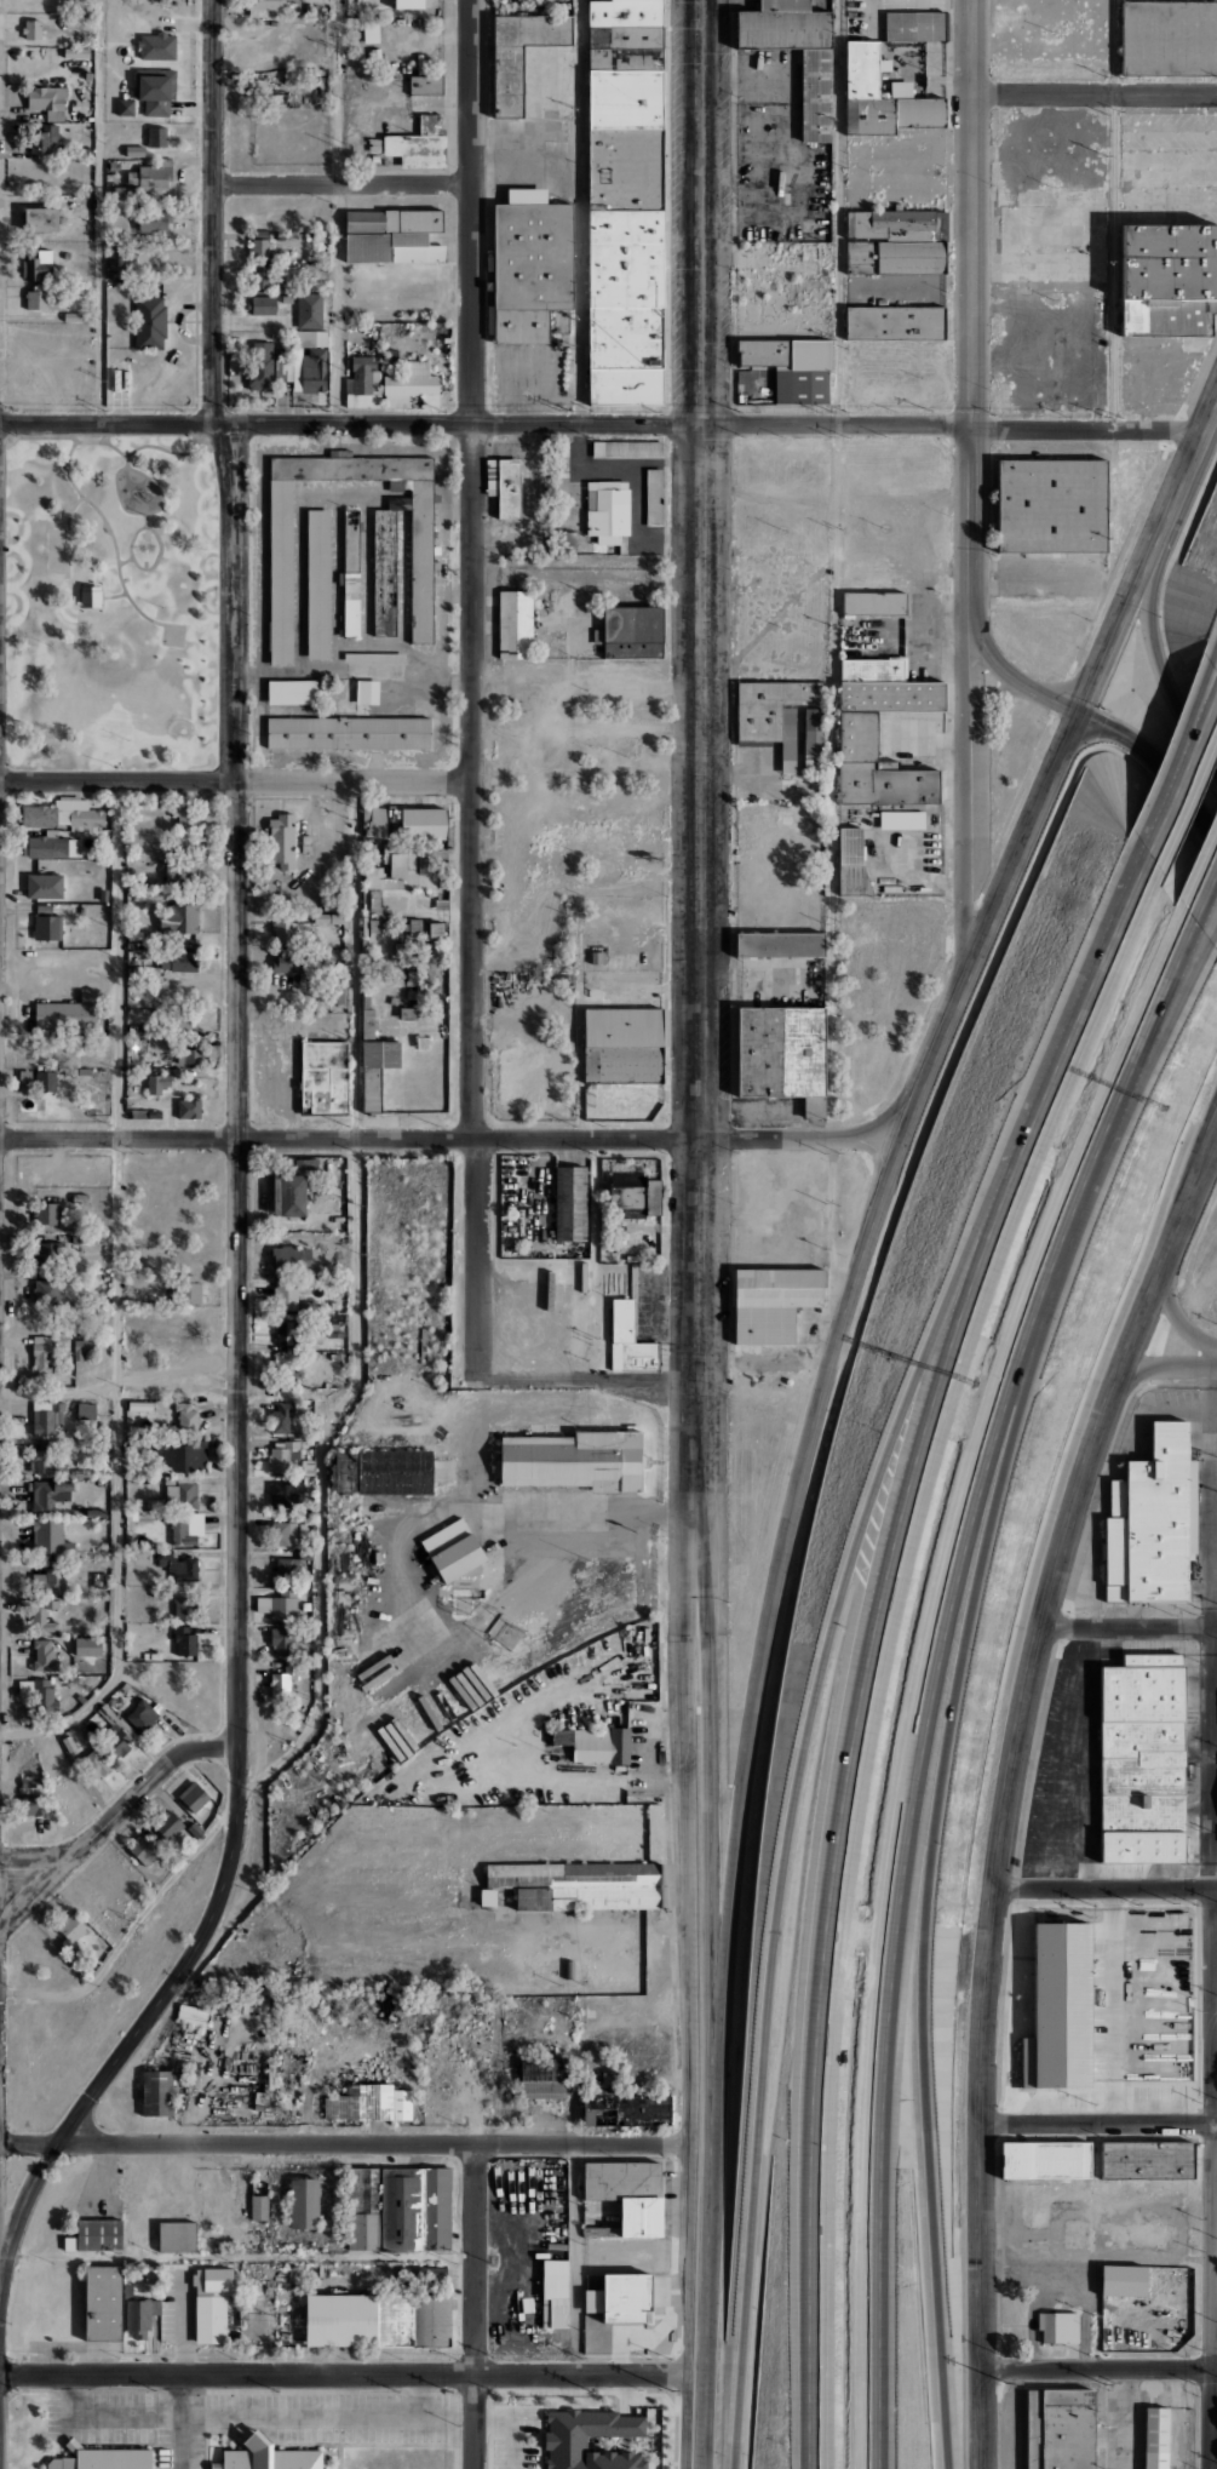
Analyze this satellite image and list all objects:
parking lot: (937, 4)
building: (263, 6)
parking lot: (863, 16)
building: (914, 25)
building: (33, 28)
building: (369, 30)
building: (1169, 36)
building: (157, 46)
building: (521, 53)
building: (425, 84)
building: (861, 88)
building: (156, 90)
building: (816, 94)
road: (1095, 94)
building: (48, 102)
building: (126, 107)
building: (156, 137)
building: (44, 138)
building: (414, 145)
building: (134, 150)
building: (358, 150)
building: (375, 157)
parking lot: (1169, 166)
building: (153, 181)
road: (341, 185)
building: (125, 191)
building: (625, 202)
road: (340, 212)
road: (101, 213)
road: (213, 213)
road: (580, 213)
road: (838, 214)
road: (1113, 214)
building: (41, 218)
building: (153, 219)
building: (392, 234)
building: (900, 239)
building: (260, 252)
parking lot: (1051, 260)
building: (530, 264)
building: (116, 267)
building: (34, 269)
building: (260, 276)
building: (1169, 279)
building: (38, 299)
building: (264, 305)
building: (310, 309)
road: (971, 309)
building: (145, 322)
building: (895, 322)
building: (305, 362)
building: (260, 366)
building: (791, 366)
parking lot: (1156, 373)
building: (362, 382)
building: (412, 384)
road: (599, 428)
road: (42, 436)
road: (213, 441)
road: (138, 446)
building: (627, 448)
building: (559, 477)
building: (509, 488)
building: (654, 497)
building: (1051, 505)
road: (70, 509)
road: (153, 510)
building: (607, 510)
road: (144, 519)
road: (111, 533)
building: (563, 542)
road: (160, 544)
road: (699, 568)
building: (281, 571)
building: (385, 572)
building: (350, 573)
road: (815, 575)
building: (317, 583)
building: (91, 596)
road: (113, 596)
park: (110, 601)
building: (873, 602)
building: (515, 624)
building: (632, 632)
park: (173, 634)
building: (374, 657)
road: (1215, 658)
road: (1156, 664)
road: (472, 688)
building: (292, 691)
building: (367, 691)
traffic signals: (1078, 711)
building: (773, 712)
road: (1095, 720)
building: (349, 733)
building: (857, 737)
building: (814, 739)
road: (1181, 761)
road: (1183, 781)
road: (235, 784)
road: (971, 790)
building: (68, 807)
building: (40, 817)
building: (184, 817)
building: (86, 819)
building: (902, 819)
building: (373, 821)
building: (423, 823)
building: (281, 840)
road: (832, 844)
building: (46, 847)
building: (850, 847)
building: (404, 865)
building: (179, 872)
building: (44, 886)
road: (1204, 889)
building: (103, 894)
building: (138, 898)
building: (327, 904)
building: (437, 904)
building: (44, 907)
building: (82, 911)
building: (178, 915)
building: (326, 918)
building: (384, 918)
building: (48, 928)
building: (432, 929)
building: (283, 930)
road: (1213, 934)
building: (134, 935)
building: (780, 944)
building: (409, 946)
building: (286, 961)
road: (354, 962)
building: (163, 963)
building: (426, 963)
building: (184, 966)
building: (145, 970)
building: (408, 978)
road: (753, 984)
building: (87, 993)
building: (407, 996)
building: (390, 999)
building: (65, 1012)
building: (407, 1013)
building: (368, 1024)
building: (183, 1026)
road: (1160, 1042)
building: (418, 1043)
building: (622, 1044)
building: (380, 1053)
building: (782, 1054)
building: (185, 1055)
building: (69, 1071)
building: (82, 1071)
building: (24, 1076)
building: (325, 1076)
building: (44, 1081)
building: (157, 1083)
building: (189, 1107)
building: (138, 1112)
building: (154, 1112)
road: (117, 1138)
road: (569, 1138)
building: (306, 1164)
building: (292, 1195)
building: (632, 1195)
building: (79, 1198)
building: (569, 1203)
building: (46, 1213)
building: (48, 1253)
building: (291, 1259)
building: (188, 1289)
building: (46, 1291)
building: (285, 1293)
road: (116, 1295)
parking lot: (651, 1301)
building: (771, 1301)
road: (1176, 1317)
building: (335, 1325)
building: (286, 1331)
building: (52, 1337)
building: (628, 1340)
building: (79, 1350)
road: (1216, 1356)
building: (41, 1357)
road: (1169, 1365)
building: (286, 1369)
road: (236, 1376)
road: (589, 1377)
road: (172, 1391)
road: (819, 1393)
building: (137, 1407)
building: (84, 1410)
building: (281, 1416)
building: (186, 1417)
building: (46, 1419)
building: (182, 1453)
building: (281, 1456)
building: (38, 1460)
building: (574, 1460)
building: (384, 1471)
road: (1212, 1490)
building: (90, 1494)
building: (285, 1494)
building: (48, 1495)
building: (188, 1495)
building: (154, 1497)
building: (93, 1513)
building: (1153, 1522)
building: (279, 1533)
building: (182, 1534)
building: (50, 1537)
building: (452, 1549)
building: (165, 1553)
building: (285, 1568)
building: (183, 1569)
building: (47, 1580)
building: (283, 1604)
building: (184, 1608)
building: (42, 1620)
road: (1127, 1626)
building: (506, 1633)
building: (184, 1639)
road: (871, 1639)
building: (285, 1640)
road: (318, 1644)
building: (88, 1645)
parking lot: (1081, 1648)
building: (44, 1655)
building: (151, 1656)
road: (930, 1673)
building: (283, 1679)
building: (31, 1691)
building: (143, 1715)
building: (115, 1740)
building: (595, 1742)
building: (67, 1743)
building: (1143, 1757)
building: (94, 1764)
parking lot: (1044, 1766)
building: (30, 1781)
road: (1008, 1786)
building: (195, 1797)
road: (687, 1803)
building: (34, 1804)
road: (793, 1814)
road: (111, 1816)
building: (168, 1824)
building: (142, 1846)
road: (36, 1852)
road: (930, 1866)
building: (573, 1885)
road: (1106, 1886)
building: (71, 1931)
road: (711, 1931)
road: (1095, 1966)
road: (1215, 2004)
building: (191, 2015)
road: (1212, 2047)
building: (1143, 2064)
building: (543, 2076)
building: (157, 2092)
building: (371, 2103)
building: (626, 2109)
road: (1098, 2120)
road: (345, 2143)
building: (1045, 2159)
building: (1147, 2159)
building: (633, 2194)
building: (304, 2201)
building: (260, 2206)
building: (362, 2206)
building: (415, 2207)
building: (601, 2232)
building: (96, 2234)
building: (177, 2235)
road: (1215, 2246)
road: (239, 2256)
building: (1127, 2280)
building: (1167, 2282)
building: (556, 2295)
building: (632, 2297)
building: (595, 2301)
building: (104, 2302)
road: (475, 2305)
building: (532, 2313)
building: (211, 2314)
building: (140, 2315)
building: (378, 2320)
building: (1058, 2326)
road: (1098, 2366)
road: (343, 2375)
parking lot: (105, 2414)
road: (105, 2416)
road: (316, 2417)
road: (179, 2422)
road: (512, 2428)
building: (1060, 2429)
parking lot: (515, 2436)
building: (566, 2438)
building: (1155, 2438)
building: (268, 2456)
building: (102, 2458)

